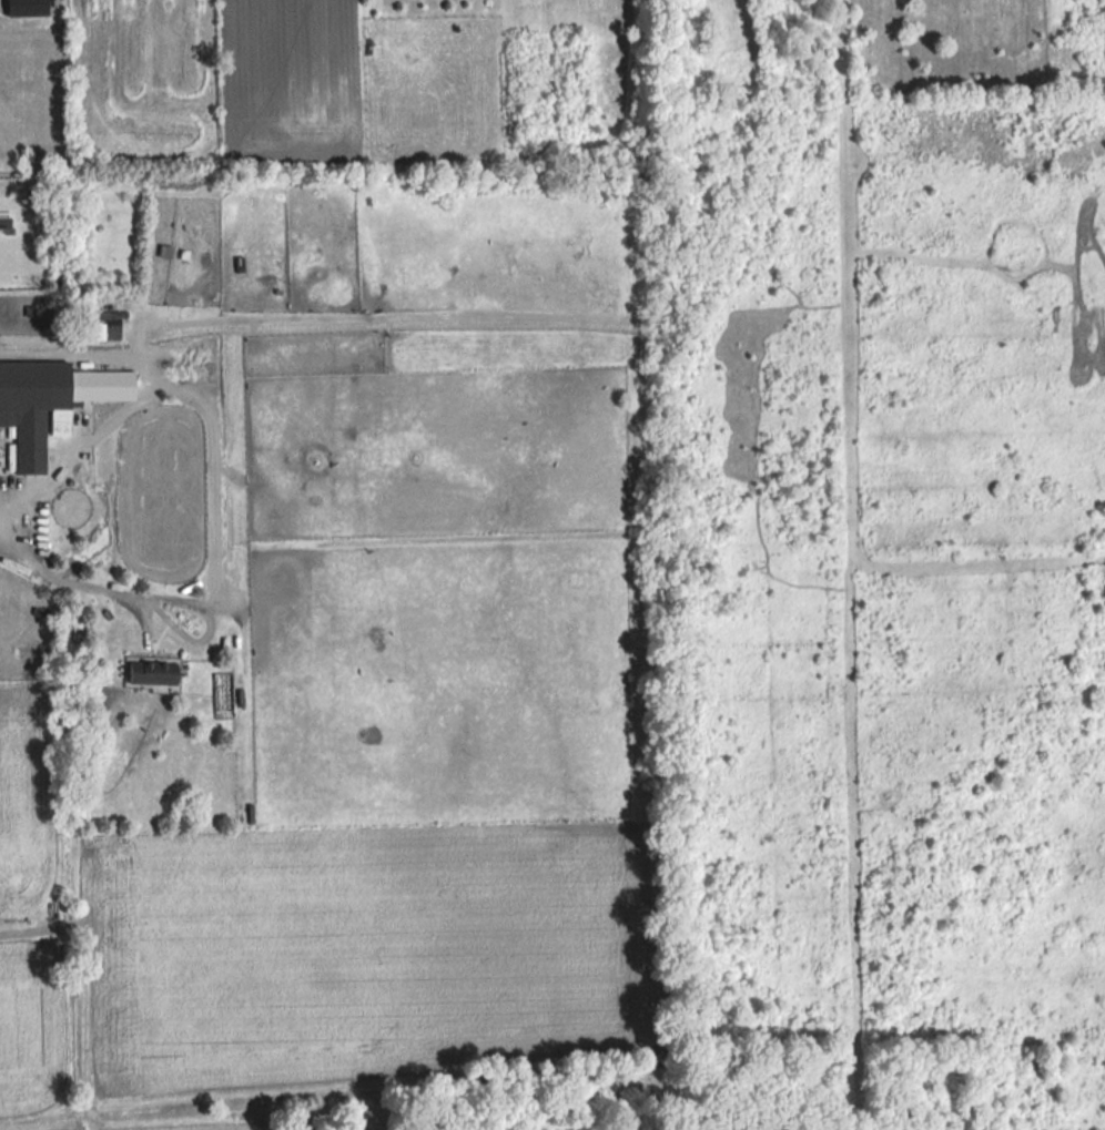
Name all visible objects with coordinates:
crop: (283, 77)
crop: (27, 92)
building: (4, 224)
building: (99, 326)
building: (48, 404)
road: (65, 581)
building: (149, 673)
crop: (29, 801)
road: (26, 932)
crop: (366, 955)
crop: (33, 1029)
crop: (202, 1127)

